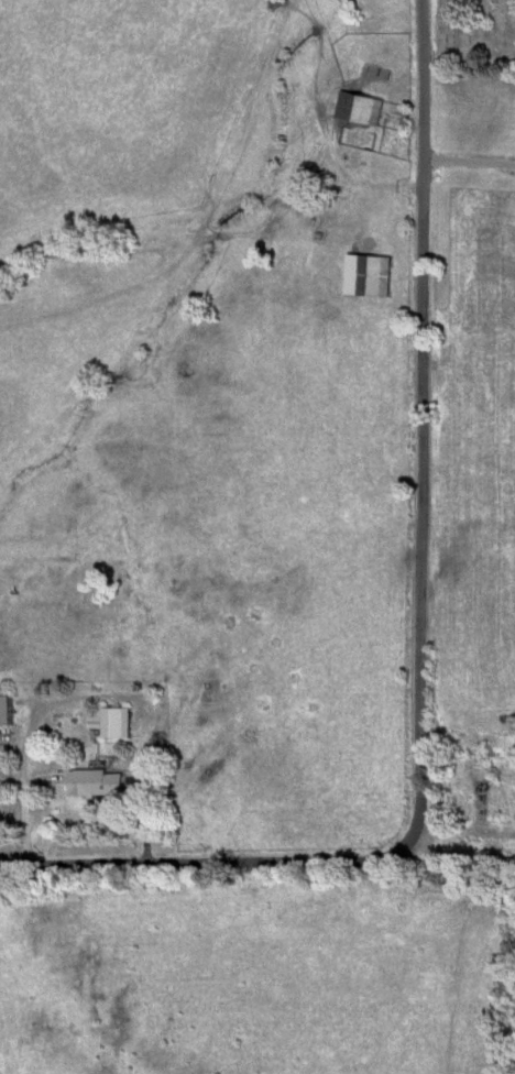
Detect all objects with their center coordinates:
park: (474, 34)
building: (363, 108)
building: (382, 276)
road: (425, 418)
building: (10, 708)
building: (121, 721)
building: (491, 763)
building: (107, 781)
road: (211, 858)
road: (464, 865)

